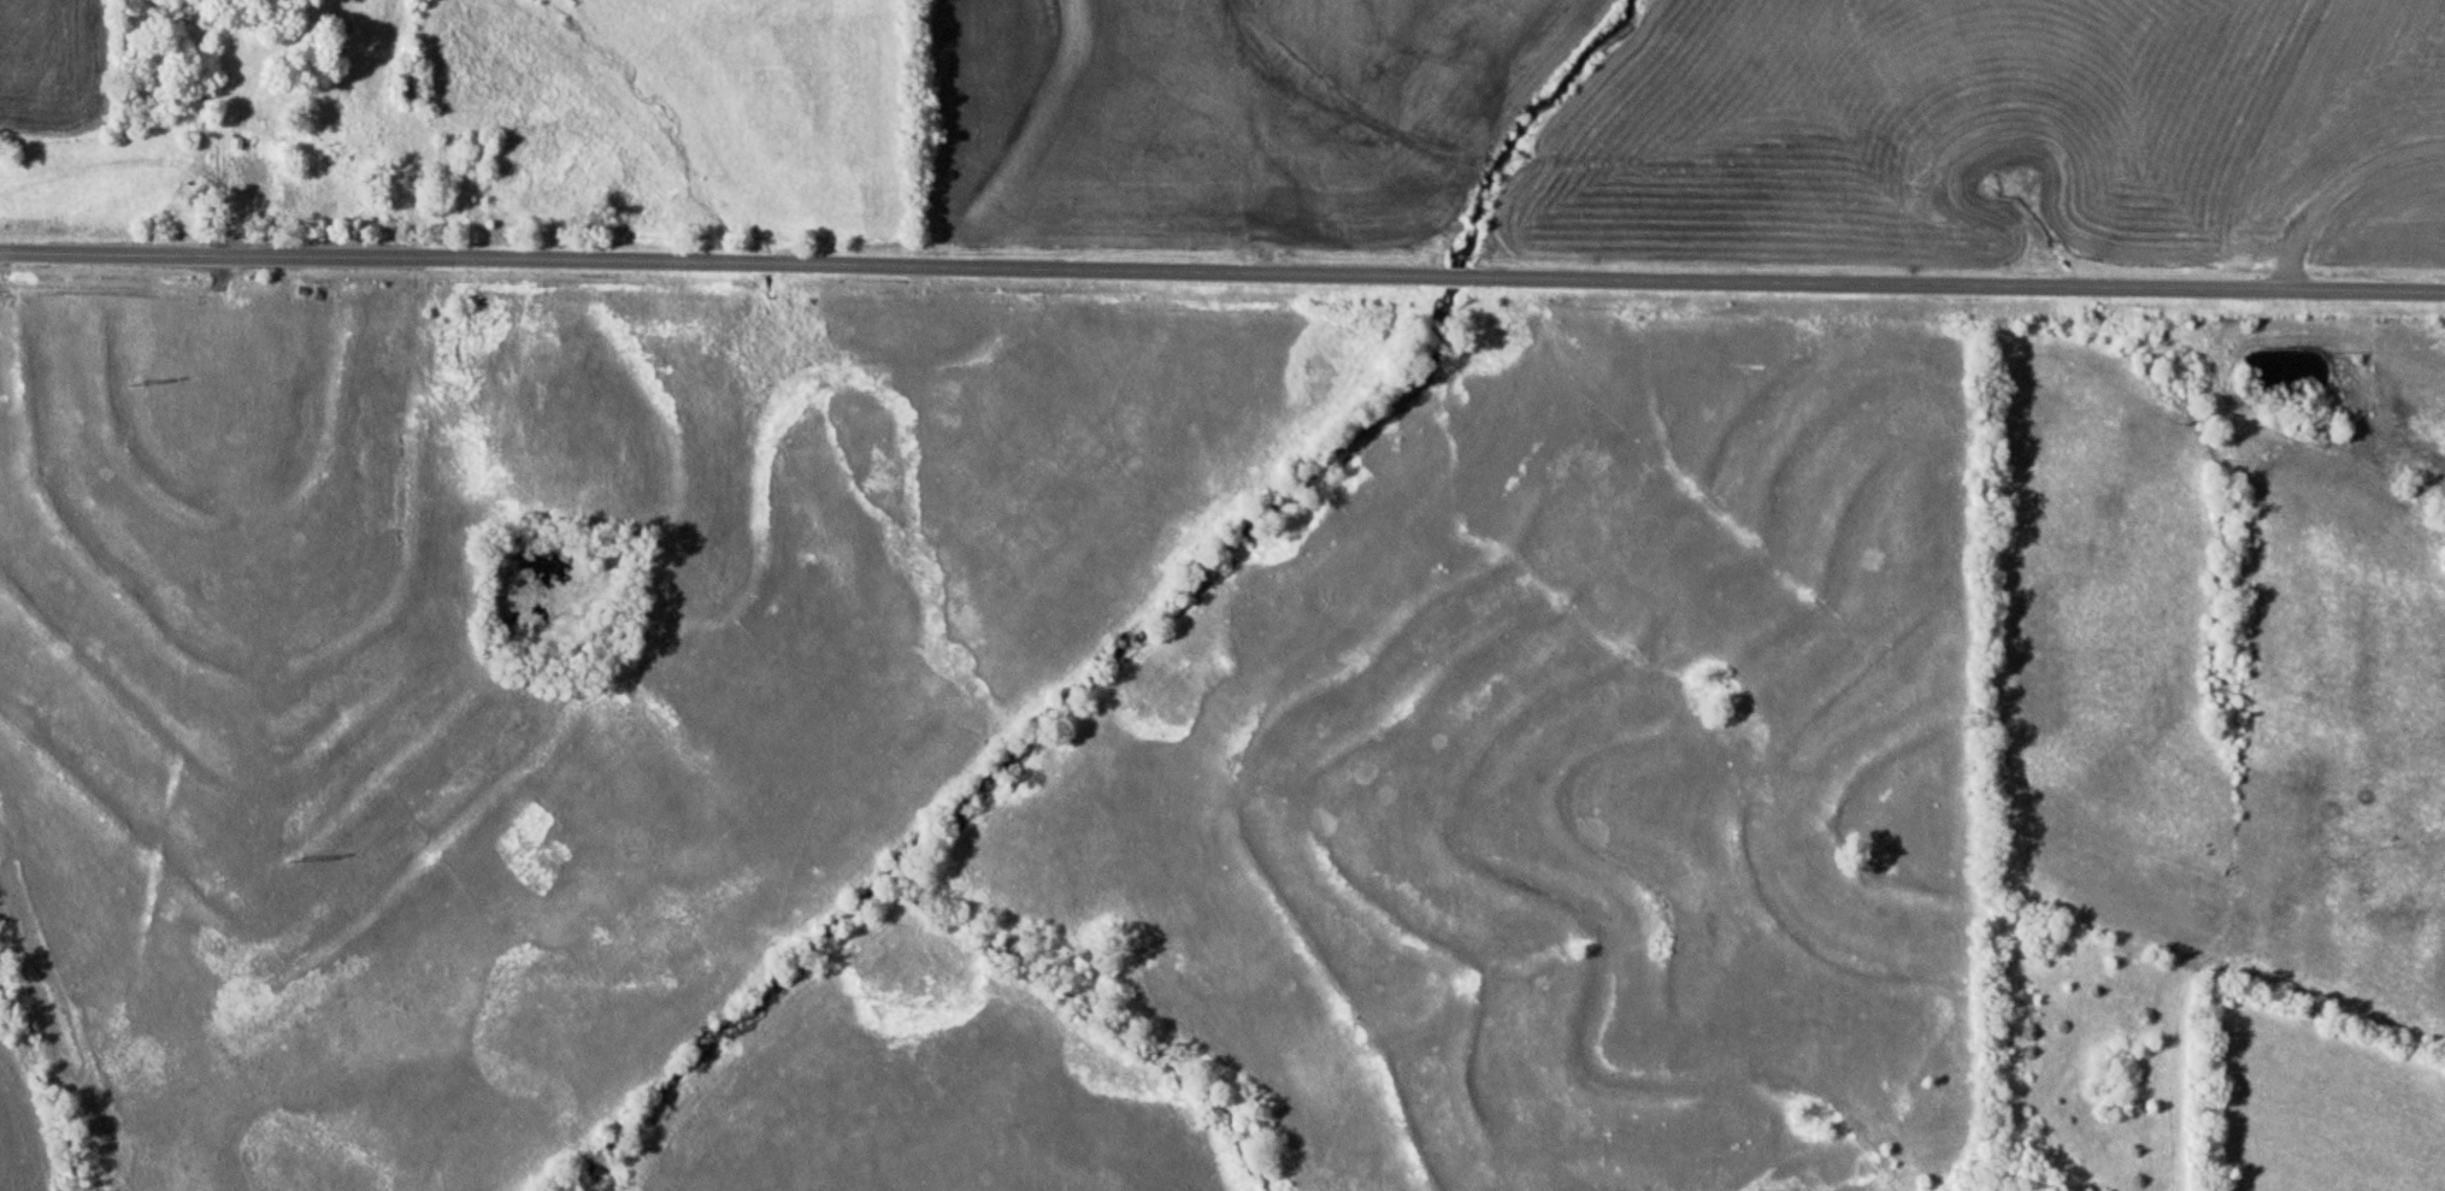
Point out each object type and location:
road: (2345, 194)
road: (1222, 265)

